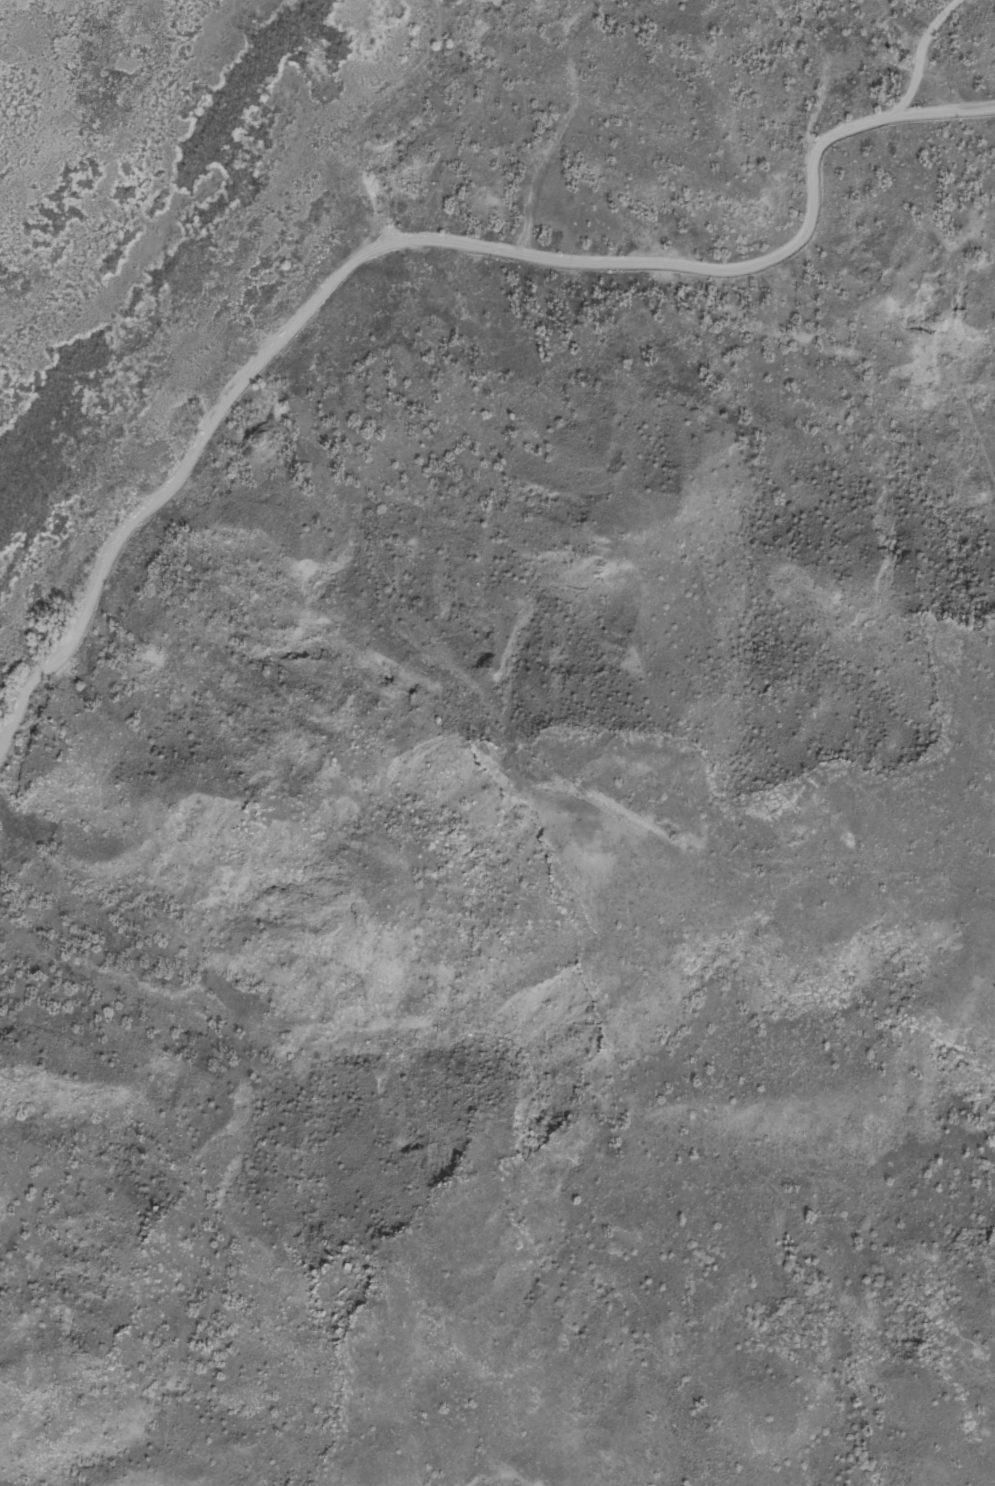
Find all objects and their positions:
quarry: (529, 18)
road: (929, 54)
road: (829, 61)
road: (417, 239)

